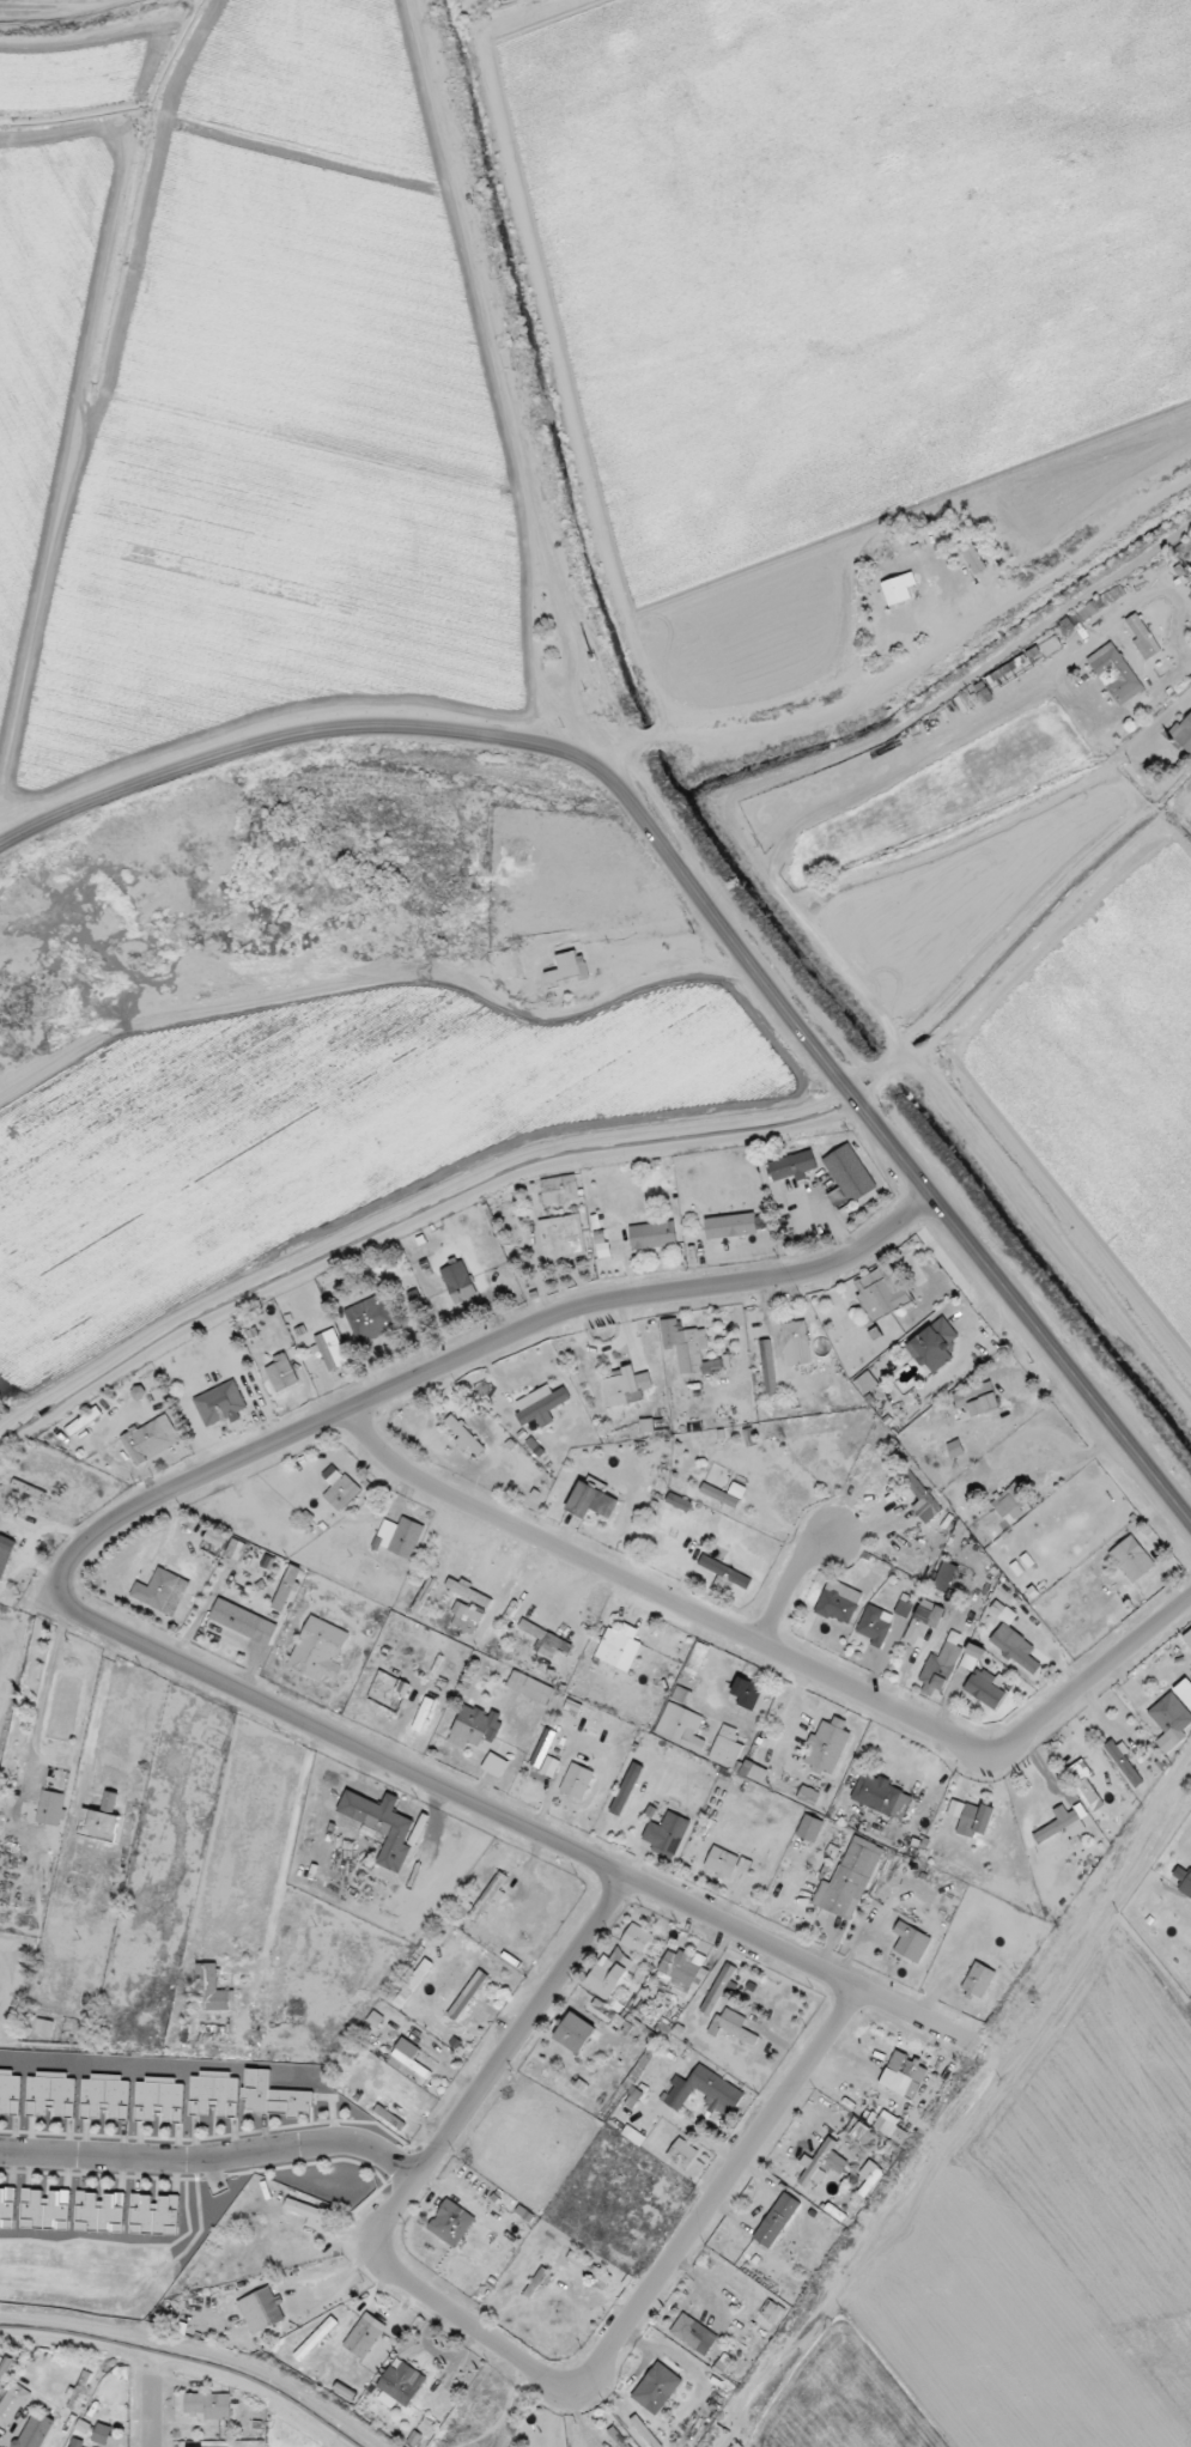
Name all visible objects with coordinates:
building: (1190, 552)
building: (971, 555)
building: (898, 588)
building: (1142, 636)
road: (934, 646)
building: (1116, 674)
building: (1183, 733)
road: (948, 747)
road: (620, 753)
road: (700, 898)
building: (567, 971)
road: (824, 974)
building: (791, 1166)
building: (849, 1173)
building: (560, 1190)
building: (730, 1226)
building: (652, 1235)
building: (561, 1238)
building: (603, 1250)
building: (457, 1281)
building: (880, 1293)
building: (370, 1318)
building: (796, 1343)
building: (683, 1344)
building: (935, 1346)
building: (330, 1349)
road: (476, 1349)
building: (768, 1367)
building: (281, 1372)
building: (865, 1382)
building: (627, 1386)
building: (976, 1401)
building: (220, 1403)
building: (540, 1405)
building: (83, 1421)
building: (646, 1426)
building: (151, 1439)
building: (469, 1440)
building: (955, 1449)
road: (1057, 1459)
building: (340, 1490)
building: (724, 1494)
building: (920, 1498)
building: (1009, 1499)
building: (591, 1501)
building: (679, 1501)
building: (400, 1537)
building: (237, 1549)
building: (5, 1553)
building: (1131, 1559)
building: (724, 1572)
building: (944, 1577)
road: (790, 1586)
building: (286, 1587)
building: (457, 1587)
building: (162, 1591)
building: (838, 1602)
building: (904, 1605)
building: (466, 1619)
building: (243, 1621)
building: (923, 1621)
building: (875, 1625)
building: (1187, 1638)
building: (552, 1644)
building: (619, 1647)
building: (1015, 1647)
building: (320, 1648)
road: (772, 1651)
building: (972, 1656)
building: (695, 1659)
building: (941, 1665)
building: (530, 1687)
building: (984, 1687)
road: (43, 1690)
building: (748, 1693)
building: (681, 1695)
road: (97, 1706)
building: (423, 1714)
building: (1171, 1722)
building: (474, 1726)
building: (681, 1726)
building: (827, 1745)
building: (725, 1747)
building: (543, 1748)
building: (1124, 1763)
building: (494, 1765)
building: (549, 1766)
building: (753, 1772)
building: (576, 1781)
building: (1082, 1781)
building: (881, 1796)
building: (110, 1801)
building: (51, 1808)
building: (955, 1808)
building: (976, 1820)
building: (1064, 1822)
road: (517, 1823)
building: (99, 1824)
building: (381, 1826)
building: (809, 1828)
building: (667, 1833)
road: (1178, 1835)
building: (722, 1863)
building: (849, 1880)
building: (1184, 1881)
building: (490, 1895)
building: (636, 1938)
building: (911, 1942)
building: (683, 1972)
building: (608, 1973)
building: (978, 1980)
building: (413, 1983)
building: (719, 1986)
building: (212, 1987)
building: (733, 2026)
building: (44, 2027)
building: (575, 2033)
building: (407, 2053)
building: (903, 2076)
building: (10, 2091)
building: (705, 2091)
building: (51, 2093)
building: (214, 2093)
building: (104, 2096)
building: (273, 2096)
building: (159, 2097)
building: (632, 2097)
building: (891, 2130)
building: (861, 2133)
building: (682, 2154)
building: (824, 2163)
building: (870, 2174)
building: (45, 2210)
building: (99, 2212)
building: (154, 2214)
building: (310, 2214)
building: (776, 2220)
building: (451, 2223)
building: (261, 2309)
building: (771, 2312)
building: (693, 2333)
building: (364, 2336)
building: (315, 2338)
road: (491, 2338)
building: (401, 2382)
building: (656, 2388)
building: (11, 2404)
building: (208, 2405)
road: (151, 2413)
building: (35, 2430)
building: (645, 2433)
building: (107, 2435)
building: (74, 2445)

